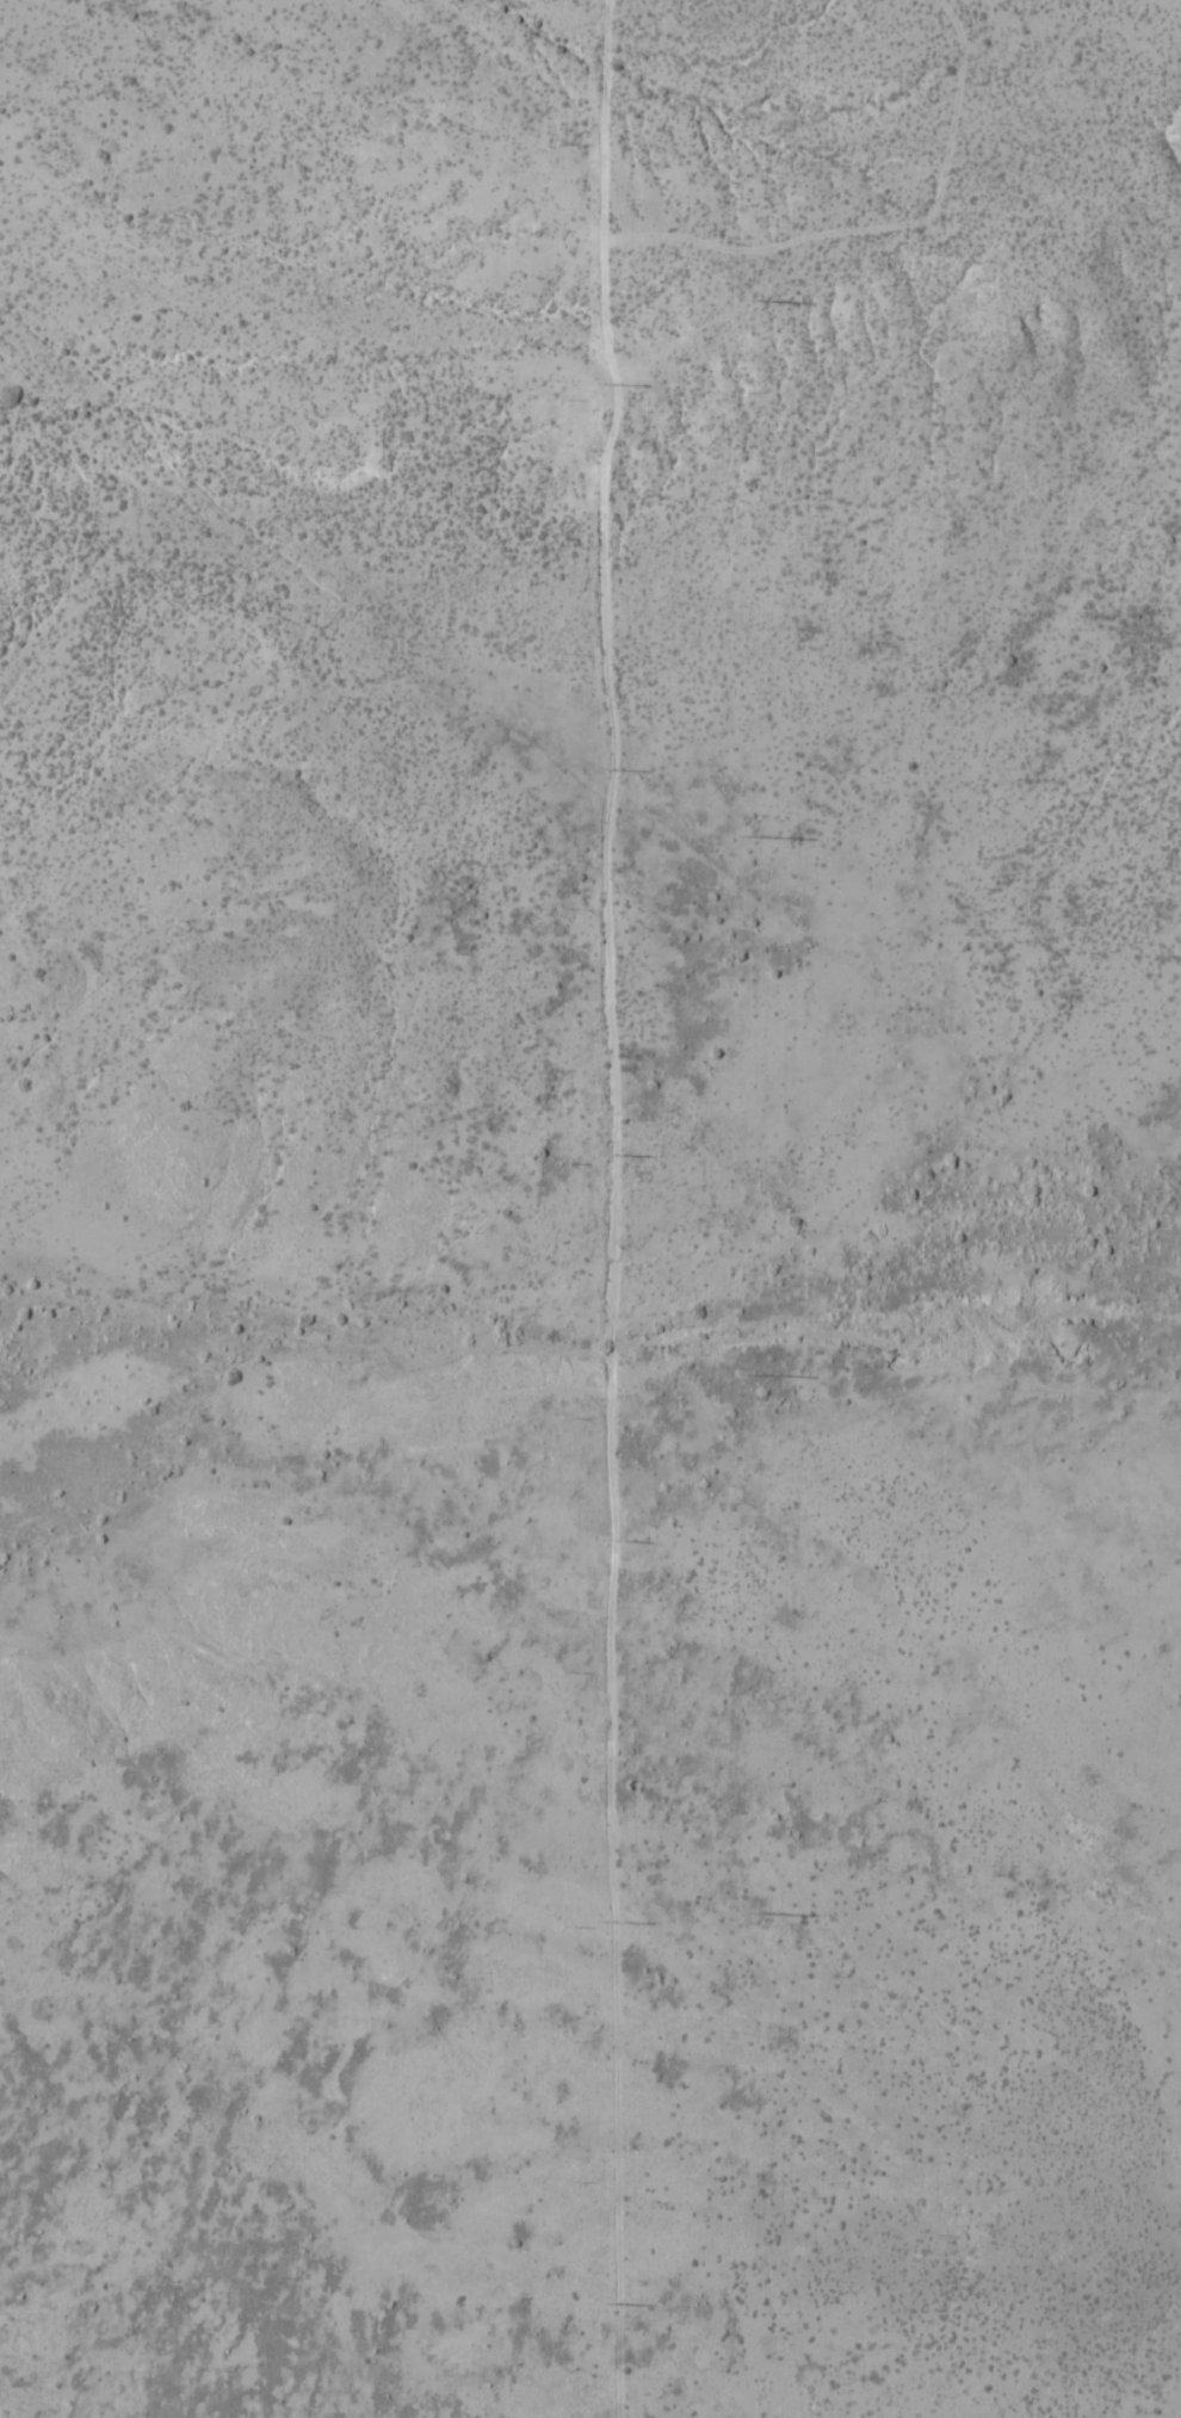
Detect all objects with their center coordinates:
power tower: (738, 299)
power tower: (601, 385)
power tower: (602, 769)
power tower: (742, 839)
power tower: (601, 1155)
power tower: (746, 1372)
power tower: (604, 1540)
power tower: (748, 1911)
power tower: (606, 1922)
power tower: (610, 2303)

